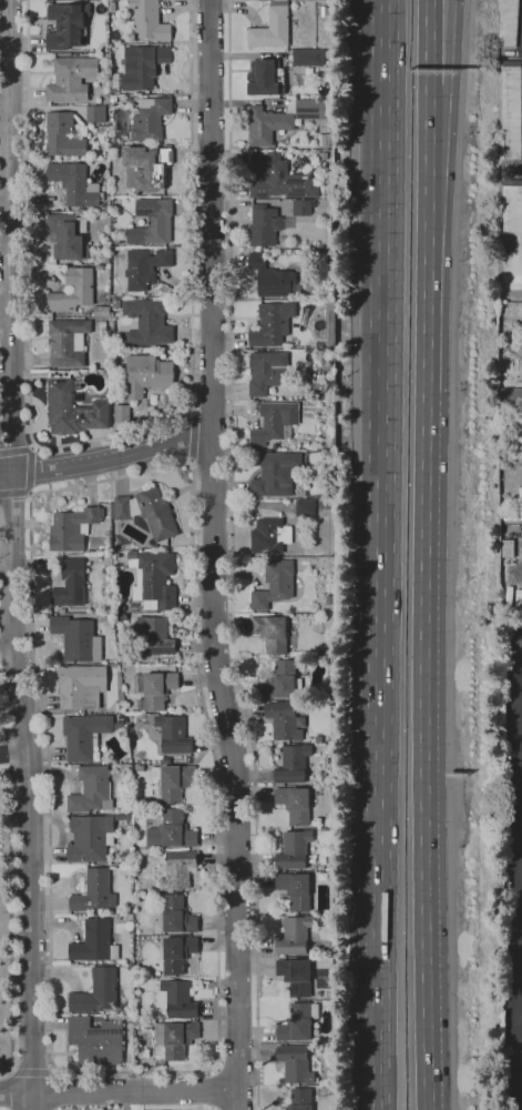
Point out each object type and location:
building: (323, 12)
building: (149, 21)
building: (508, 23)
building: (66, 26)
building: (272, 27)
road: (450, 43)
building: (309, 57)
road: (429, 64)
building: (142, 67)
building: (326, 69)
building: (71, 79)
building: (265, 79)
building: (297, 80)
building: (114, 82)
building: (112, 99)
building: (115, 107)
road: (438, 108)
building: (310, 109)
building: (509, 113)
building: (94, 114)
building: (150, 119)
building: (266, 125)
building: (62, 137)
building: (324, 140)
building: (111, 150)
building: (147, 167)
building: (314, 170)
building: (278, 179)
building: (74, 184)
building: (313, 204)
road: (191, 206)
building: (102, 208)
building: (300, 208)
road: (211, 215)
building: (151, 222)
building: (263, 225)
building: (68, 236)
road: (9, 238)
building: (510, 238)
building: (104, 259)
road: (428, 260)
building: (99, 268)
building: (144, 269)
building: (269, 277)
building: (82, 290)
building: (115, 304)
road: (29, 310)
building: (101, 312)
building: (147, 323)
building: (272, 324)
building: (102, 325)
building: (66, 342)
building: (266, 372)
building: (104, 375)
building: (146, 375)
building: (331, 389)
building: (510, 396)
building: (71, 406)
building: (143, 408)
road: (212, 411)
building: (121, 413)
building: (274, 422)
building: (516, 435)
road: (191, 437)
building: (328, 441)
road: (14, 453)
road: (111, 460)
road: (211, 460)
road: (30, 472)
building: (274, 475)
road: (4, 476)
road: (16, 493)
building: (304, 508)
building: (146, 512)
building: (72, 528)
building: (268, 536)
building: (506, 548)
road: (385, 554)
road: (232, 555)
building: (152, 581)
building: (274, 584)
building: (70, 585)
building: (327, 591)
building: (122, 608)
building: (270, 634)
building: (154, 636)
building: (76, 638)
road: (7, 647)
building: (282, 682)
building: (80, 686)
building: (153, 689)
building: (120, 718)
building: (284, 722)
building: (115, 728)
building: (84, 735)
building: (173, 735)
building: (328, 748)
road: (423, 750)
road: (13, 754)
road: (513, 757)
building: (291, 765)
road: (232, 770)
building: (172, 781)
building: (91, 790)
road: (30, 791)
building: (293, 805)
building: (136, 810)
building: (171, 831)
building: (90, 838)
building: (293, 849)
building: (126, 856)
building: (178, 869)
road: (10, 885)
building: (294, 889)
building: (93, 891)
building: (176, 916)
building: (115, 917)
building: (294, 936)
building: (94, 942)
building: (177, 953)
building: (295, 976)
building: (95, 992)
building: (177, 999)
building: (297, 1023)
road: (512, 1038)
building: (174, 1039)
building: (94, 1041)
road: (217, 1053)
building: (295, 1063)
road: (236, 1071)
road: (10, 1089)
road: (55, 1089)
road: (215, 1089)
road: (133, 1094)
road: (16, 1096)
building: (335, 1098)
building: (299, 1099)
road: (250, 1109)

